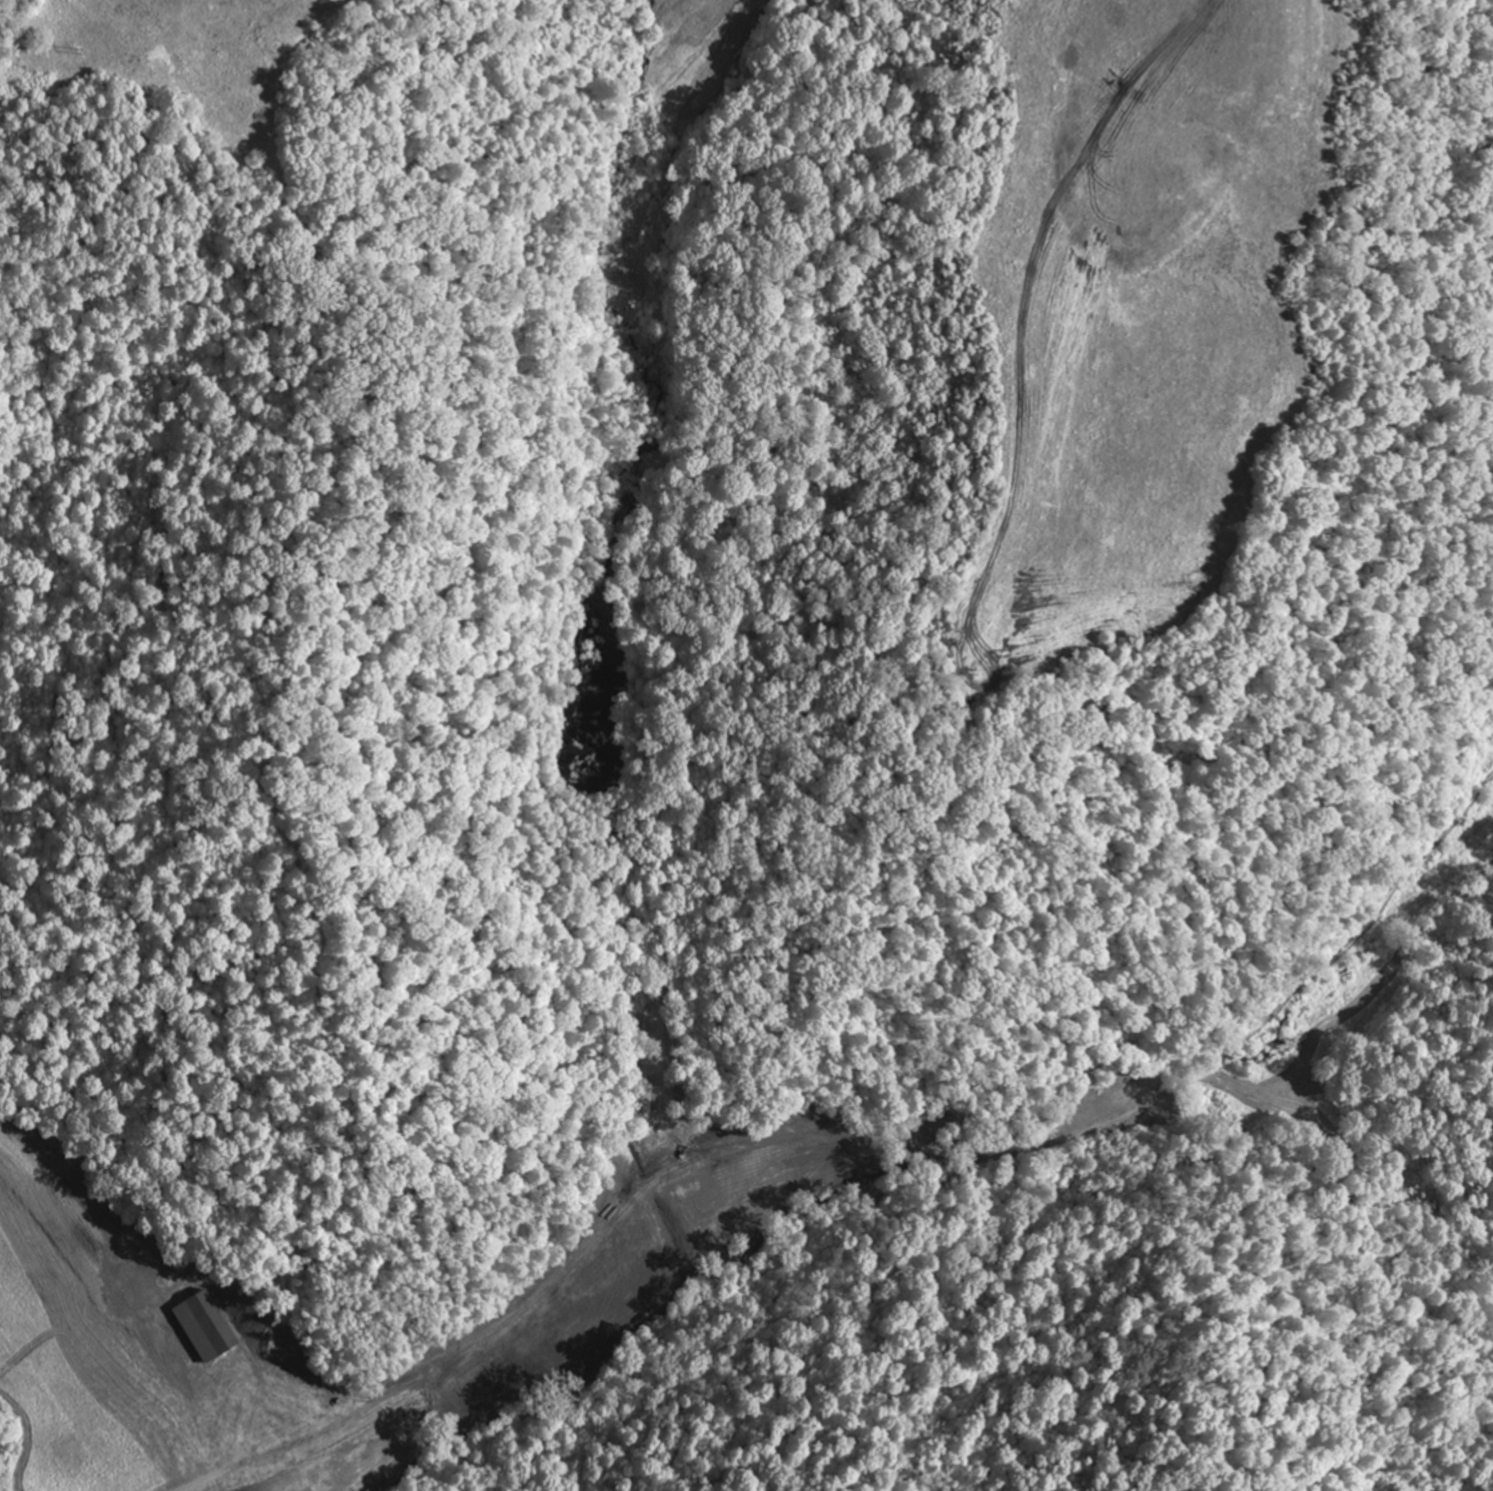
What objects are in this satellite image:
road: (736, 1203)
building: (207, 1327)

